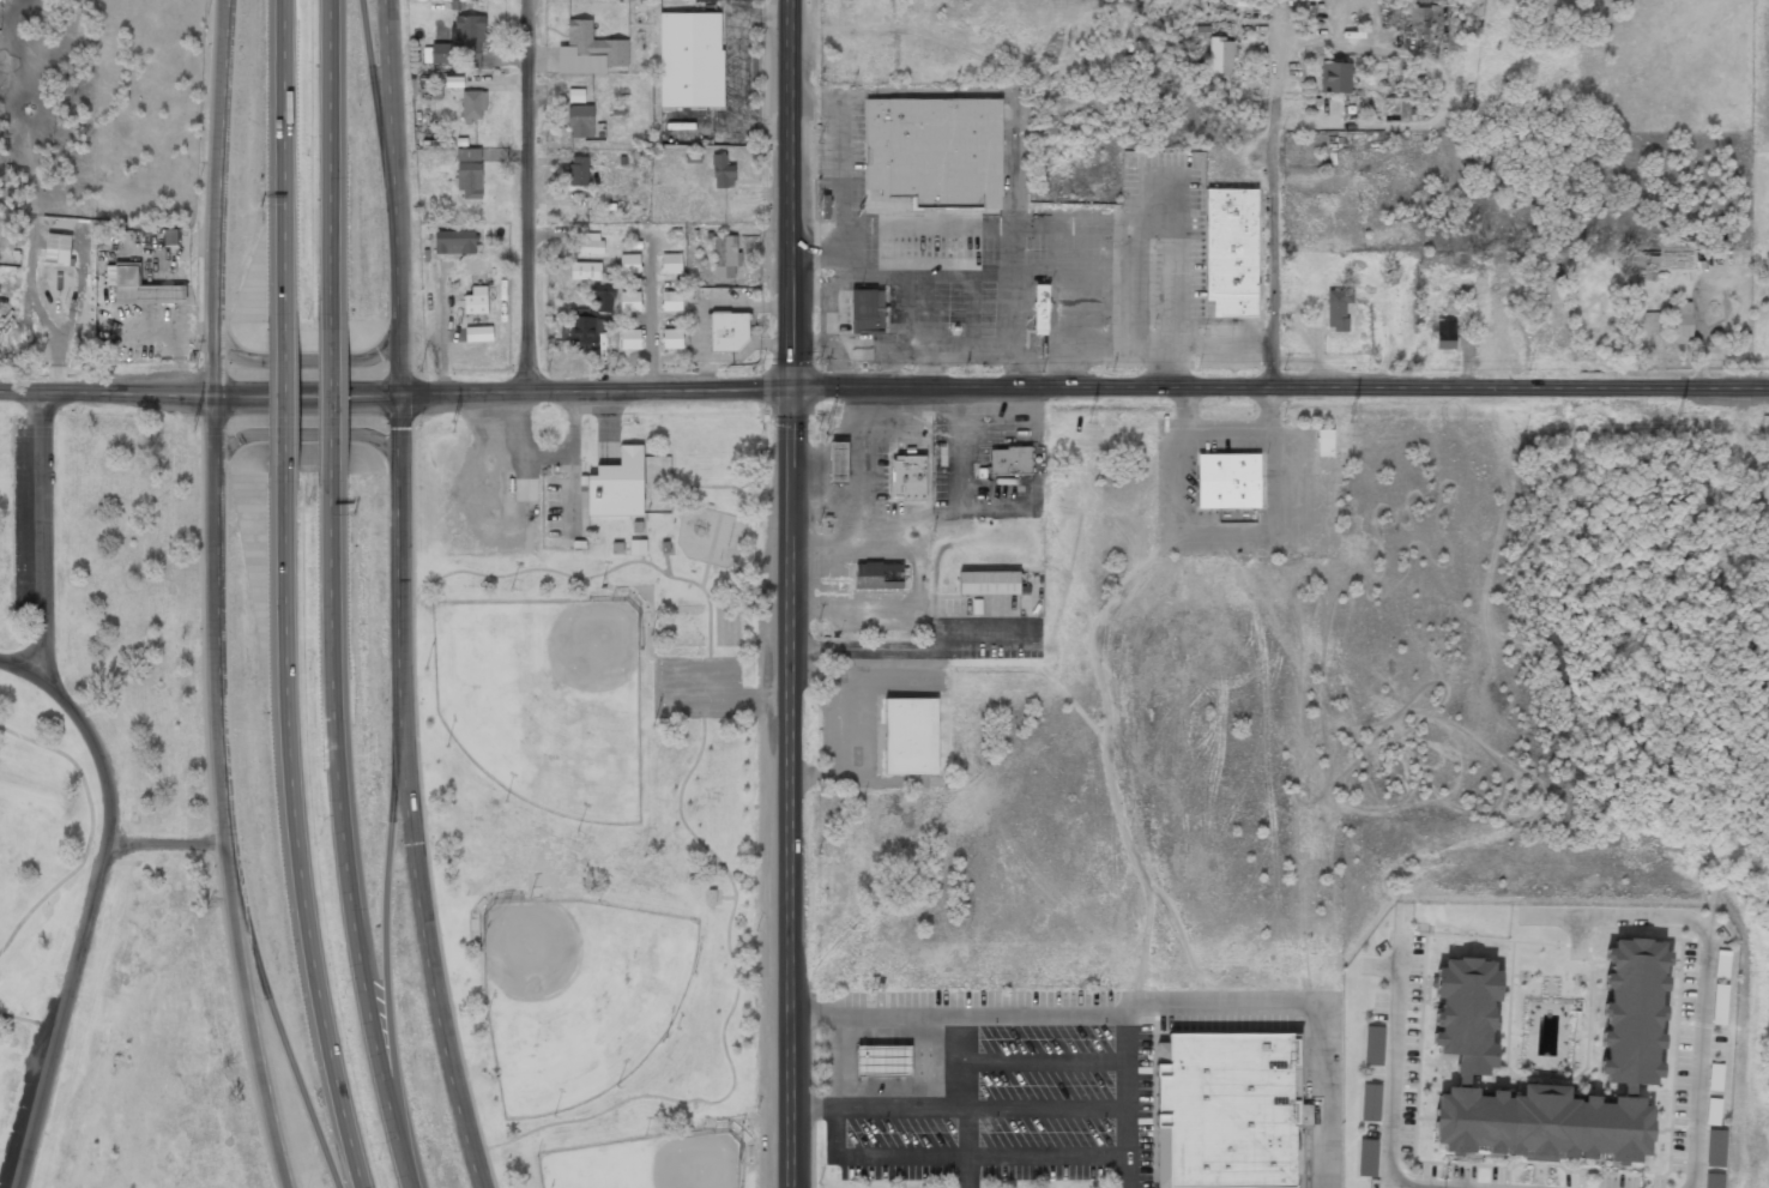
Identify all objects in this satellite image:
building: (0, 0)
building: (1419, 20)
building: (463, 43)
building: (590, 52)
building: (1220, 55)
building: (689, 60)
building: (1334, 79)
building: (575, 95)
building: (472, 107)
road: (378, 109)
building: (579, 122)
building: (935, 151)
road: (333, 159)
road: (285, 163)
building: (576, 171)
building: (722, 171)
building: (469, 175)
road: (526, 197)
building: (823, 205)
road: (1288, 233)
building: (169, 236)
building: (454, 243)
building: (591, 245)
building: (58, 251)
building: (1231, 251)
building: (725, 258)
building: (629, 264)
building: (670, 264)
building: (586, 271)
building: (141, 290)
building: (476, 301)
building: (629, 302)
building: (671, 302)
building: (1040, 309)
building: (1338, 309)
building: (867, 310)
building: (1680, 321)
building: (590, 324)
building: (727, 330)
building: (1445, 334)
building: (671, 339)
building: (630, 340)
road: (306, 361)
traffic signals: (789, 388)
road: (1082, 388)
road: (108, 392)
road: (306, 394)
road: (334, 396)
road: (286, 400)
power tower: (1679, 416)
power tower: (1089, 417)
power tower: (1351, 417)
power tower: (453, 426)
power tower: (191, 427)
power tower: (827, 430)
road: (303, 432)
building: (1326, 444)
road: (215, 456)
building: (1010, 460)
building: (837, 462)
gas station: (837, 462)
building: (908, 477)
building: (1228, 482)
building: (617, 484)
parking lot: (31, 519)
road: (42, 533)
building: (636, 548)
road: (710, 550)
building: (876, 574)
road: (590, 577)
building: (988, 583)
road: (787, 593)
road: (397, 597)
road: (17, 668)
building: (1559, 676)
parking lot: (700, 687)
park: (544, 700)
building: (910, 735)
road: (422, 808)
park: (108, 825)
road: (90, 831)
road: (296, 833)
road: (345, 833)
park: (608, 843)
road: (167, 844)
road: (85, 922)
road: (391, 959)
building: (1721, 964)
park: (576, 995)
building: (1720, 1006)
road: (724, 1021)
building: (1372, 1045)
road: (286, 1049)
road: (255, 1050)
building: (882, 1060)
gas station: (882, 1060)
building: (1630, 1063)
building: (1715, 1078)
building: (1370, 1102)
building: (1227, 1109)
building: (1713, 1112)
building: (1716, 1150)
building: (1366, 1157)
park: (644, 1163)
building: (1714, 1181)

